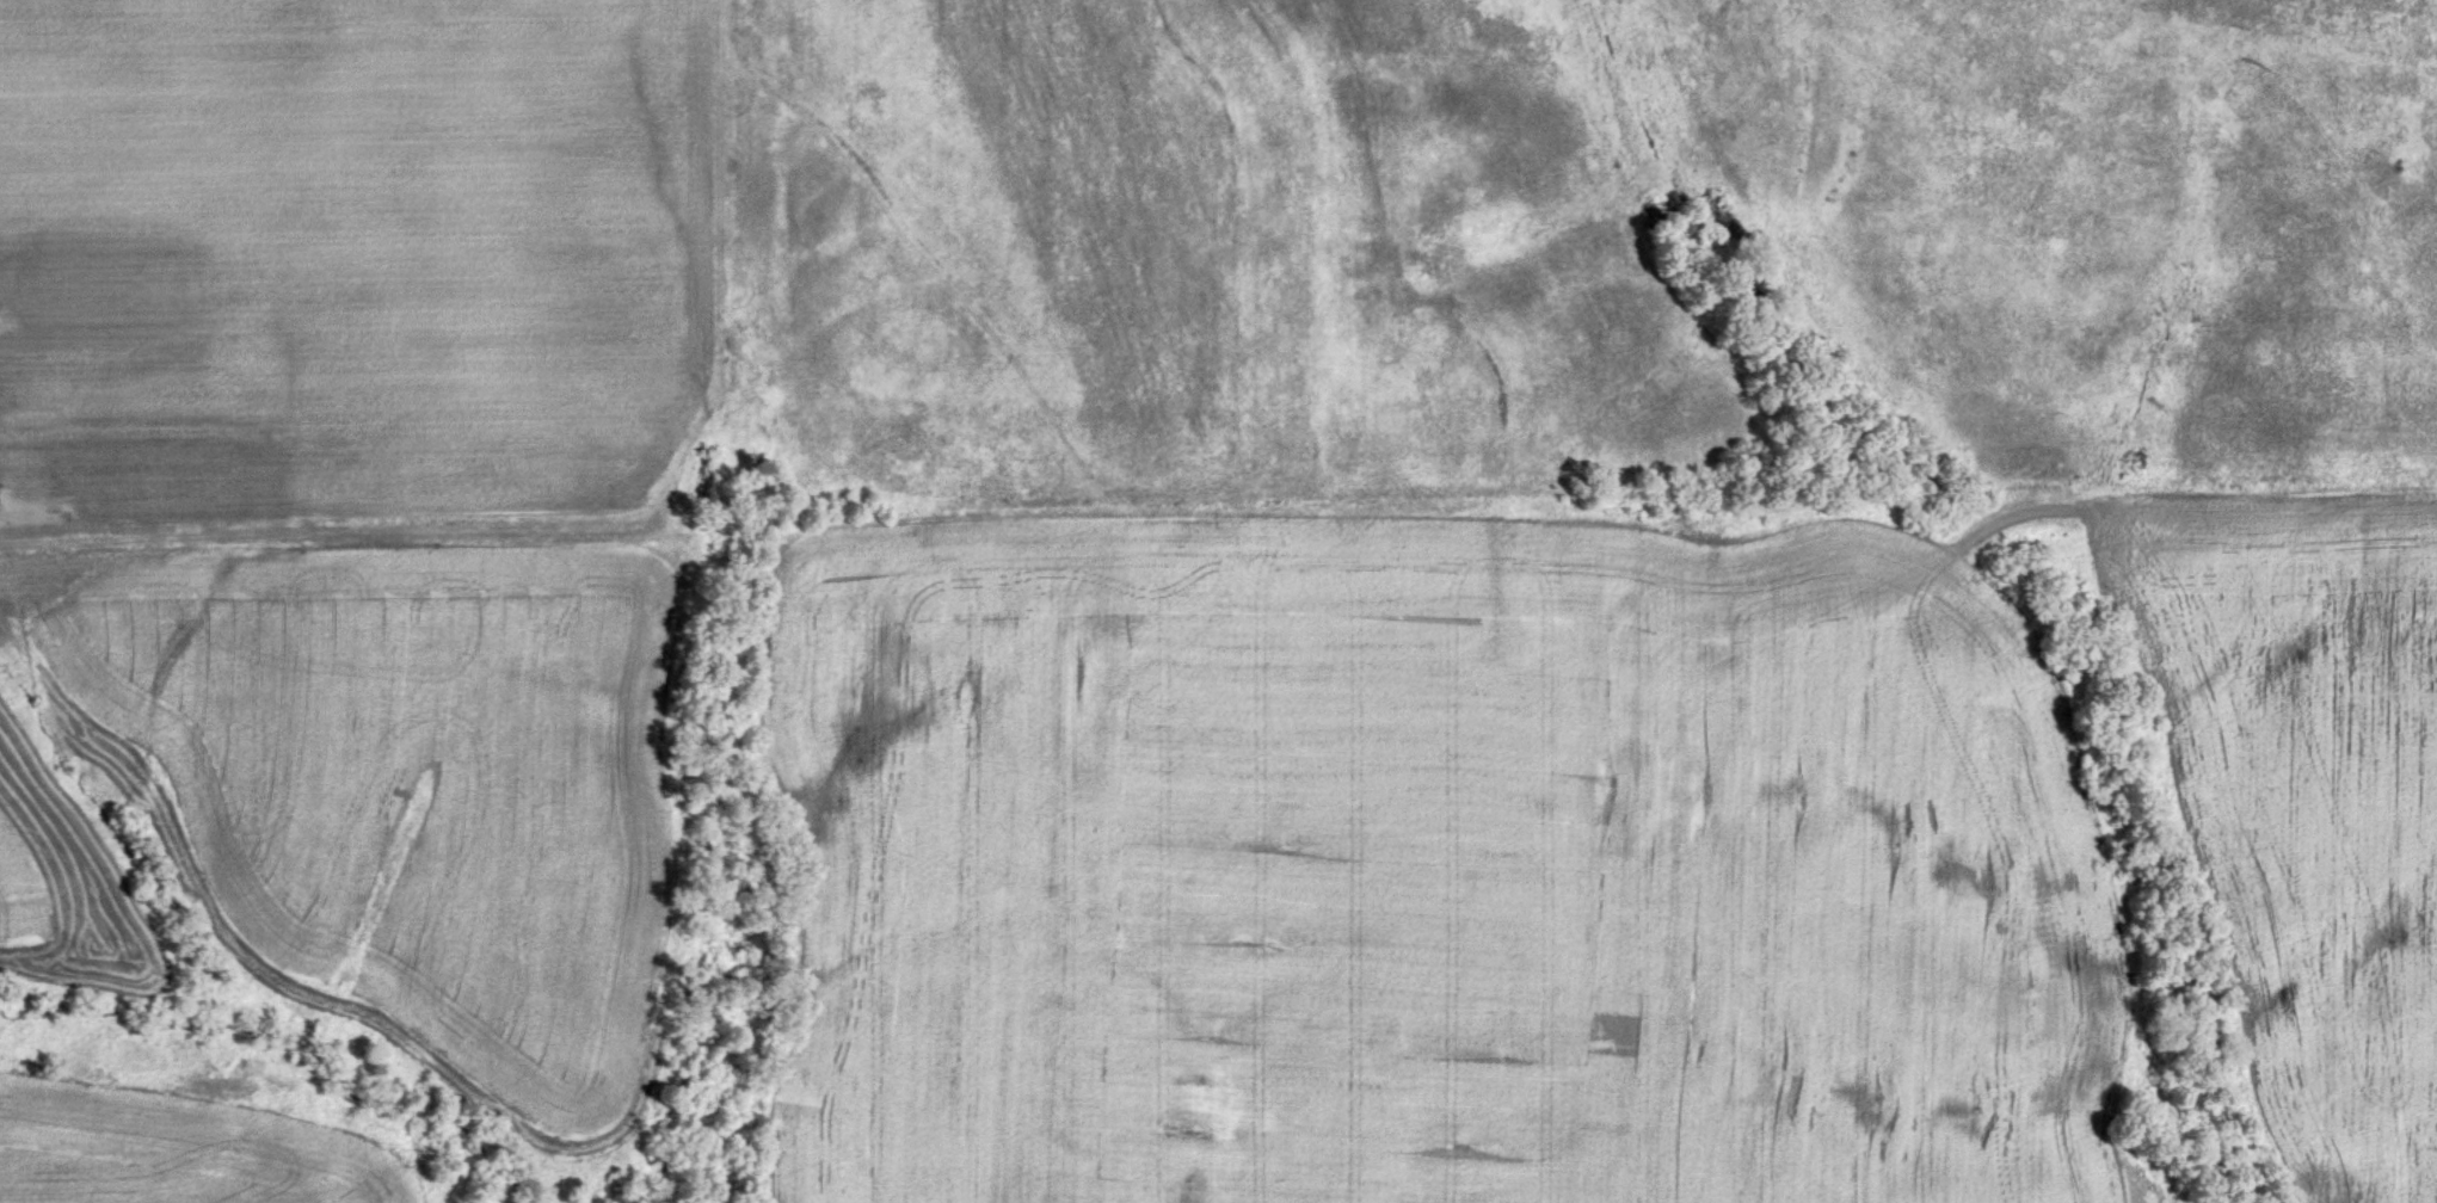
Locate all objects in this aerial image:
road: (1217, 493)

